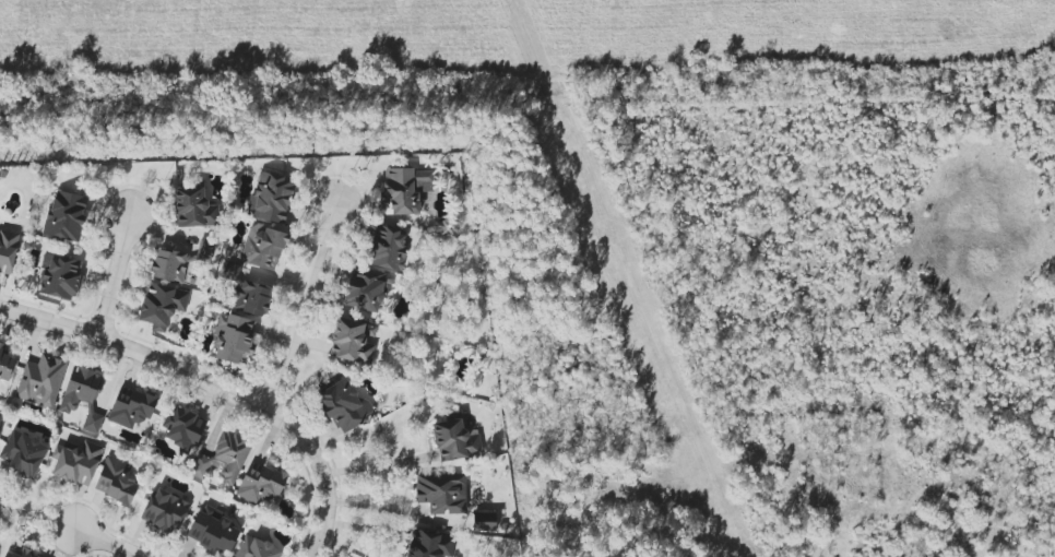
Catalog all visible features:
building: (405, 190)
building: (270, 197)
building: (193, 209)
building: (66, 215)
building: (263, 247)
building: (387, 247)
building: (8, 251)
building: (169, 265)
road: (112, 275)
building: (59, 276)
building: (365, 292)
building: (162, 306)
road: (299, 306)
building: (233, 339)
building: (352, 341)
building: (4, 365)
building: (42, 380)
road: (214, 386)
building: (81, 388)
building: (344, 405)
building: (131, 406)
building: (92, 422)
building: (182, 428)
building: (455, 440)
building: (23, 453)
building: (224, 458)
building: (76, 462)
road: (372, 465)
building: (115, 481)
building: (261, 484)
building: (442, 494)
building: (165, 511)
road: (36, 517)
building: (484, 522)
building: (213, 530)
road: (100, 543)
building: (429, 544)
building: (256, 548)
park: (337, 552)
building: (21, 554)

